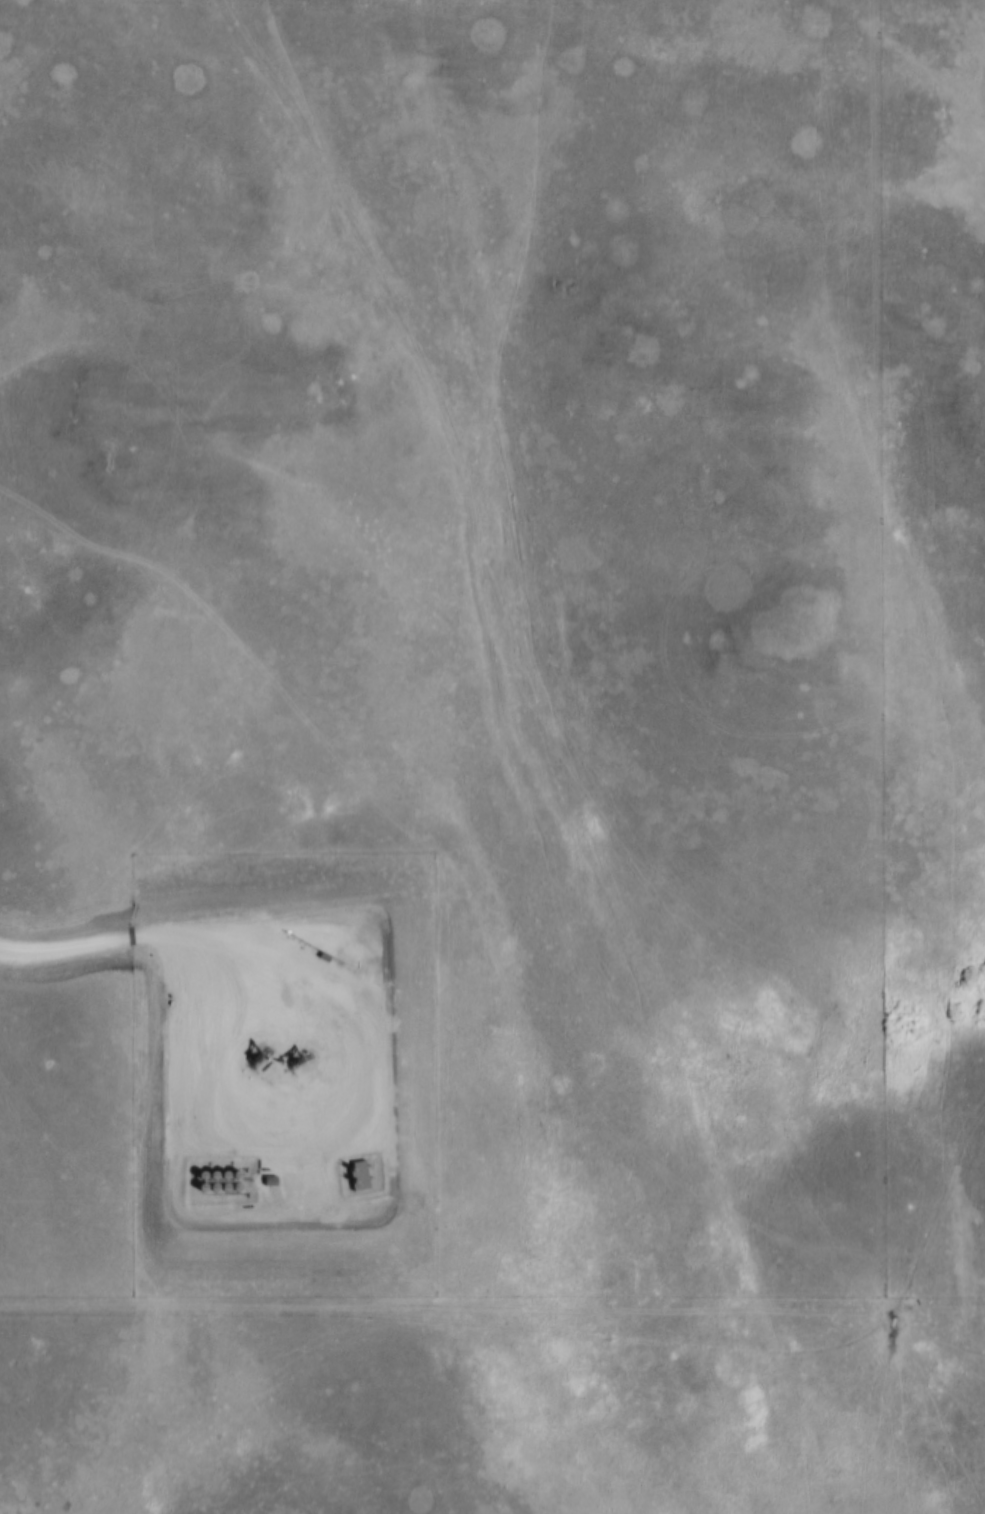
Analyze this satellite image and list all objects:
road: (138, 927)
petroleum well: (294, 1061)
petroleum well: (252, 1062)
building: (231, 1179)
storage tank: (231, 1179)
building: (208, 1180)
storage tank: (208, 1180)
building: (219, 1180)
storage tank: (219, 1180)
building: (356, 1180)
building: (197, 1181)
storage tank: (197, 1181)
building: (266, 1183)
building: (208, 1192)
storage tank: (208, 1192)
building: (219, 1192)
storage tank: (219, 1192)
building: (231, 1192)
storage tank: (231, 1192)
building: (196, 1193)
storage tank: (196, 1193)

